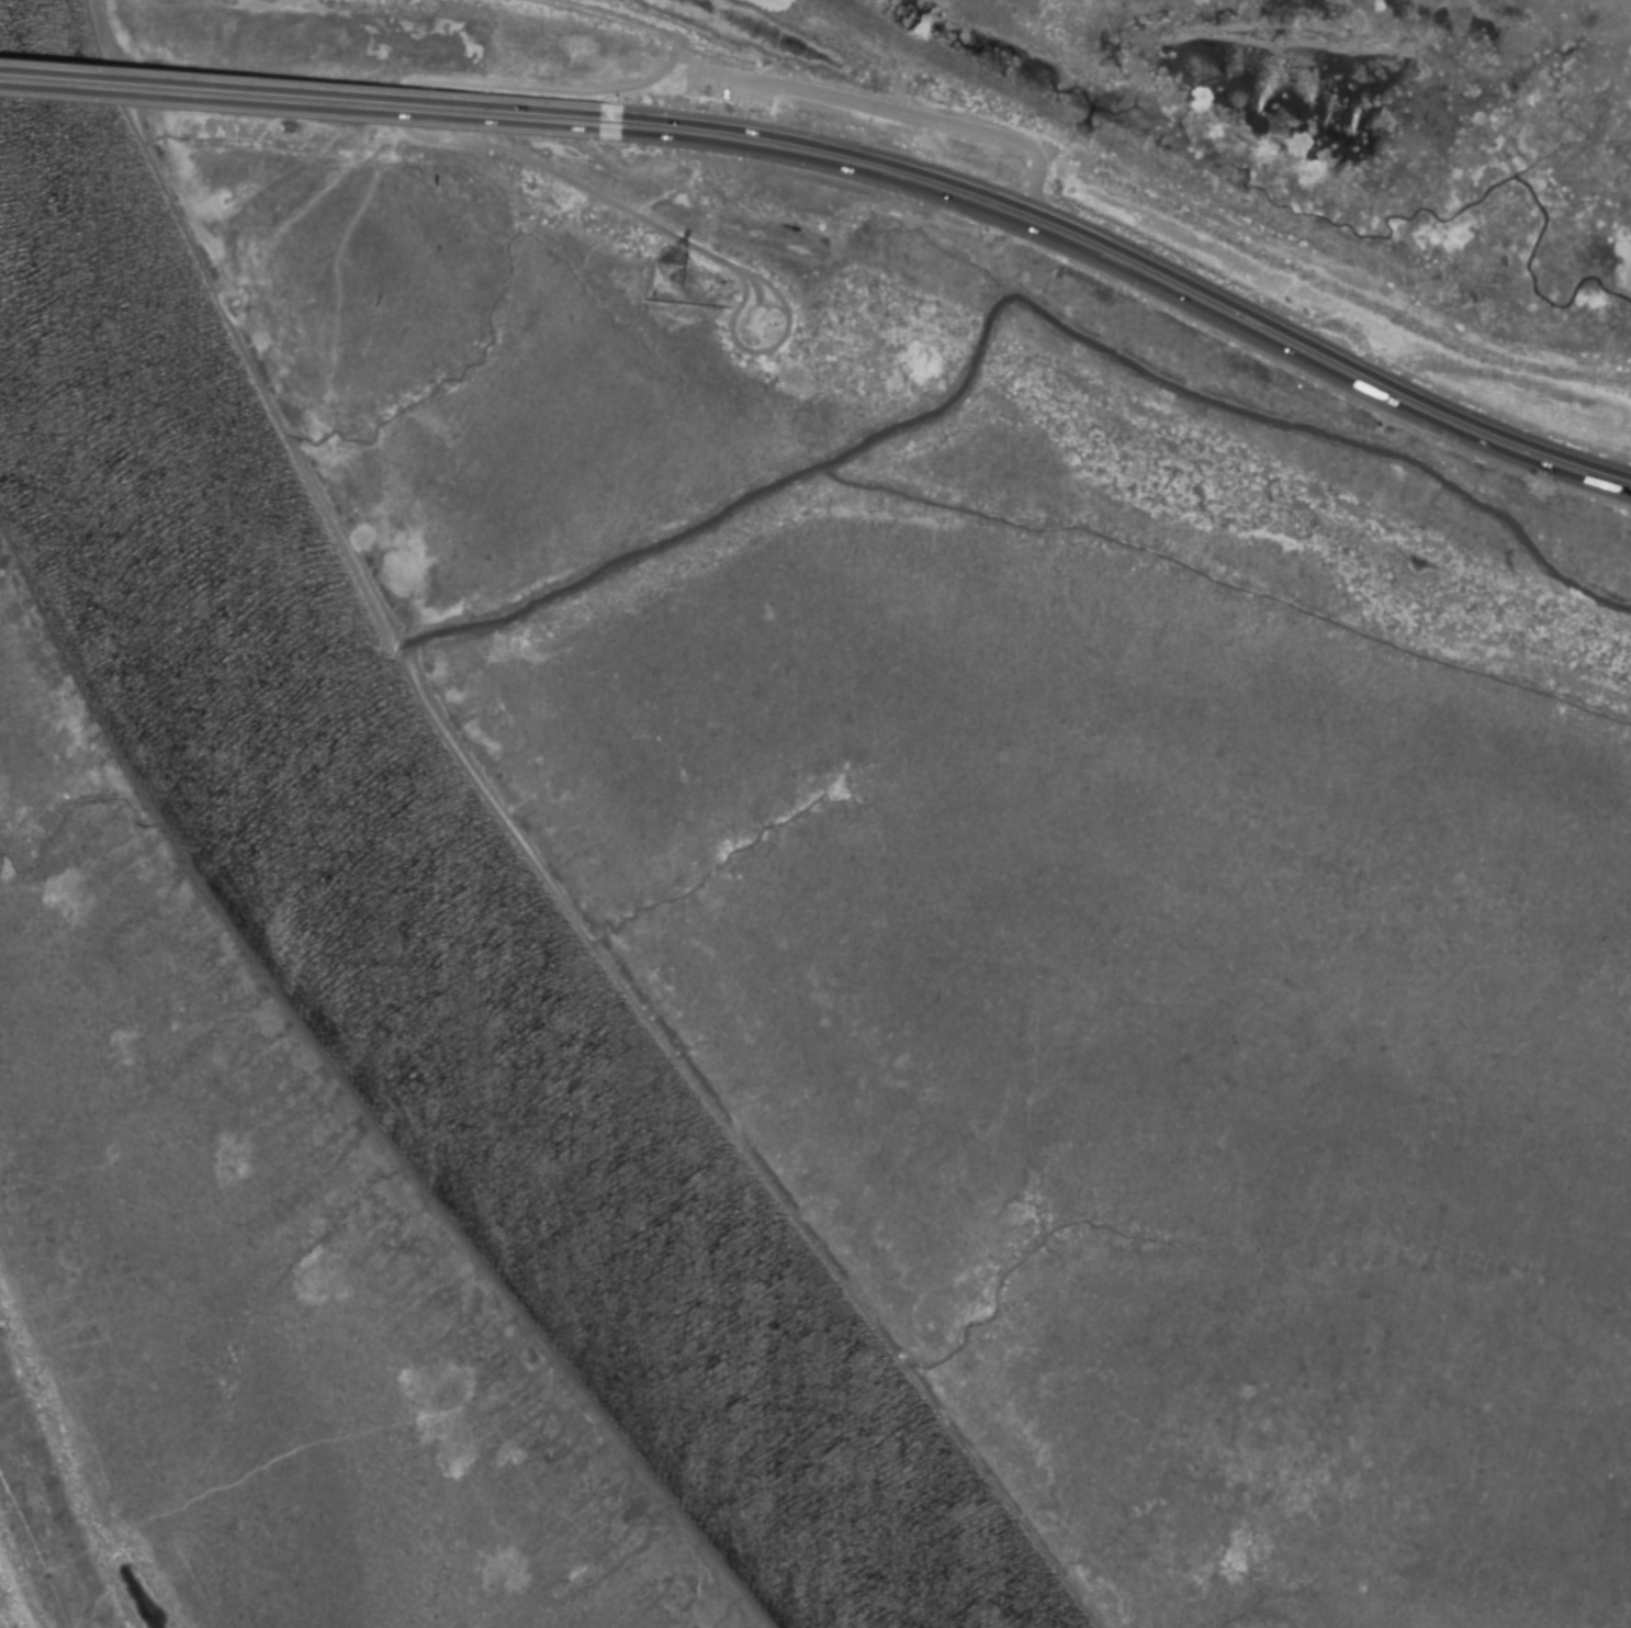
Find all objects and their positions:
road: (614, 19)
road: (446, 83)
road: (311, 93)
road: (310, 108)
power tower: (1076, 144)
road: (1137, 266)
road: (1136, 282)
power tower: (664, 284)

